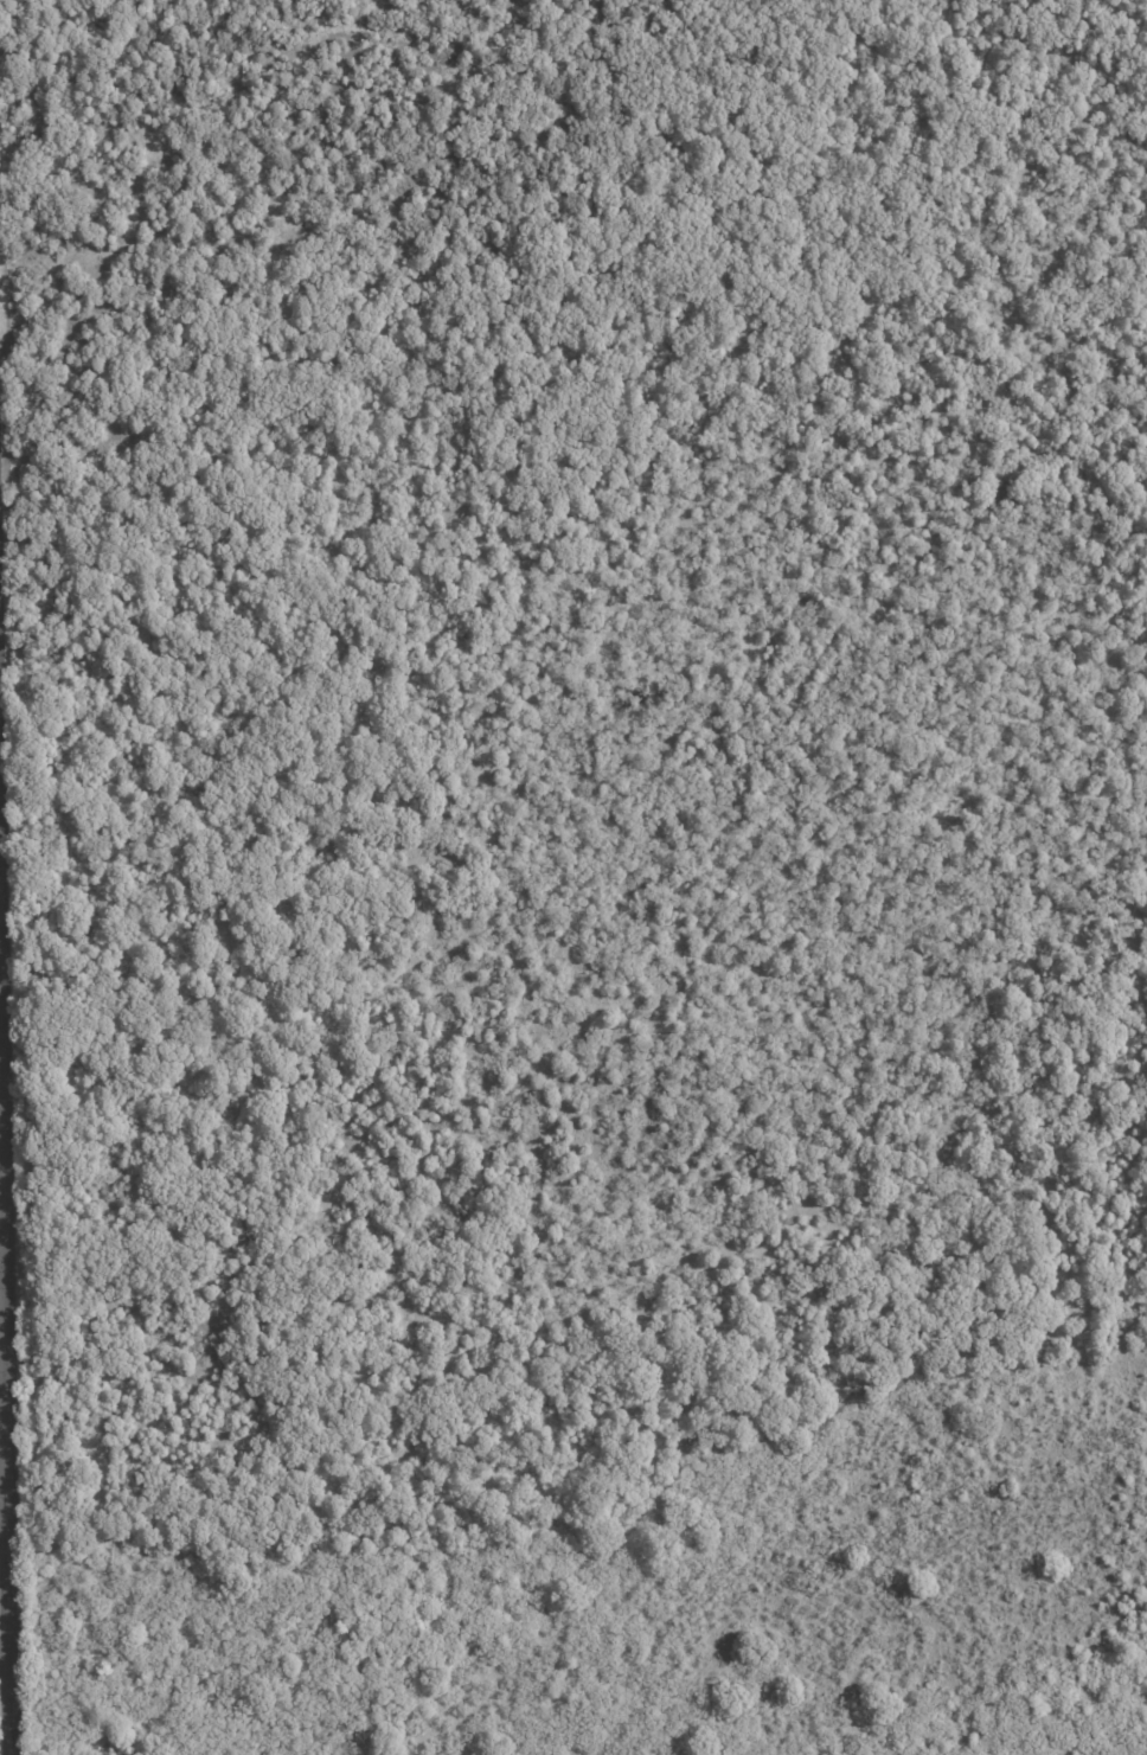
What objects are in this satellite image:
road: (5, 1424)
road: (5, 1654)

